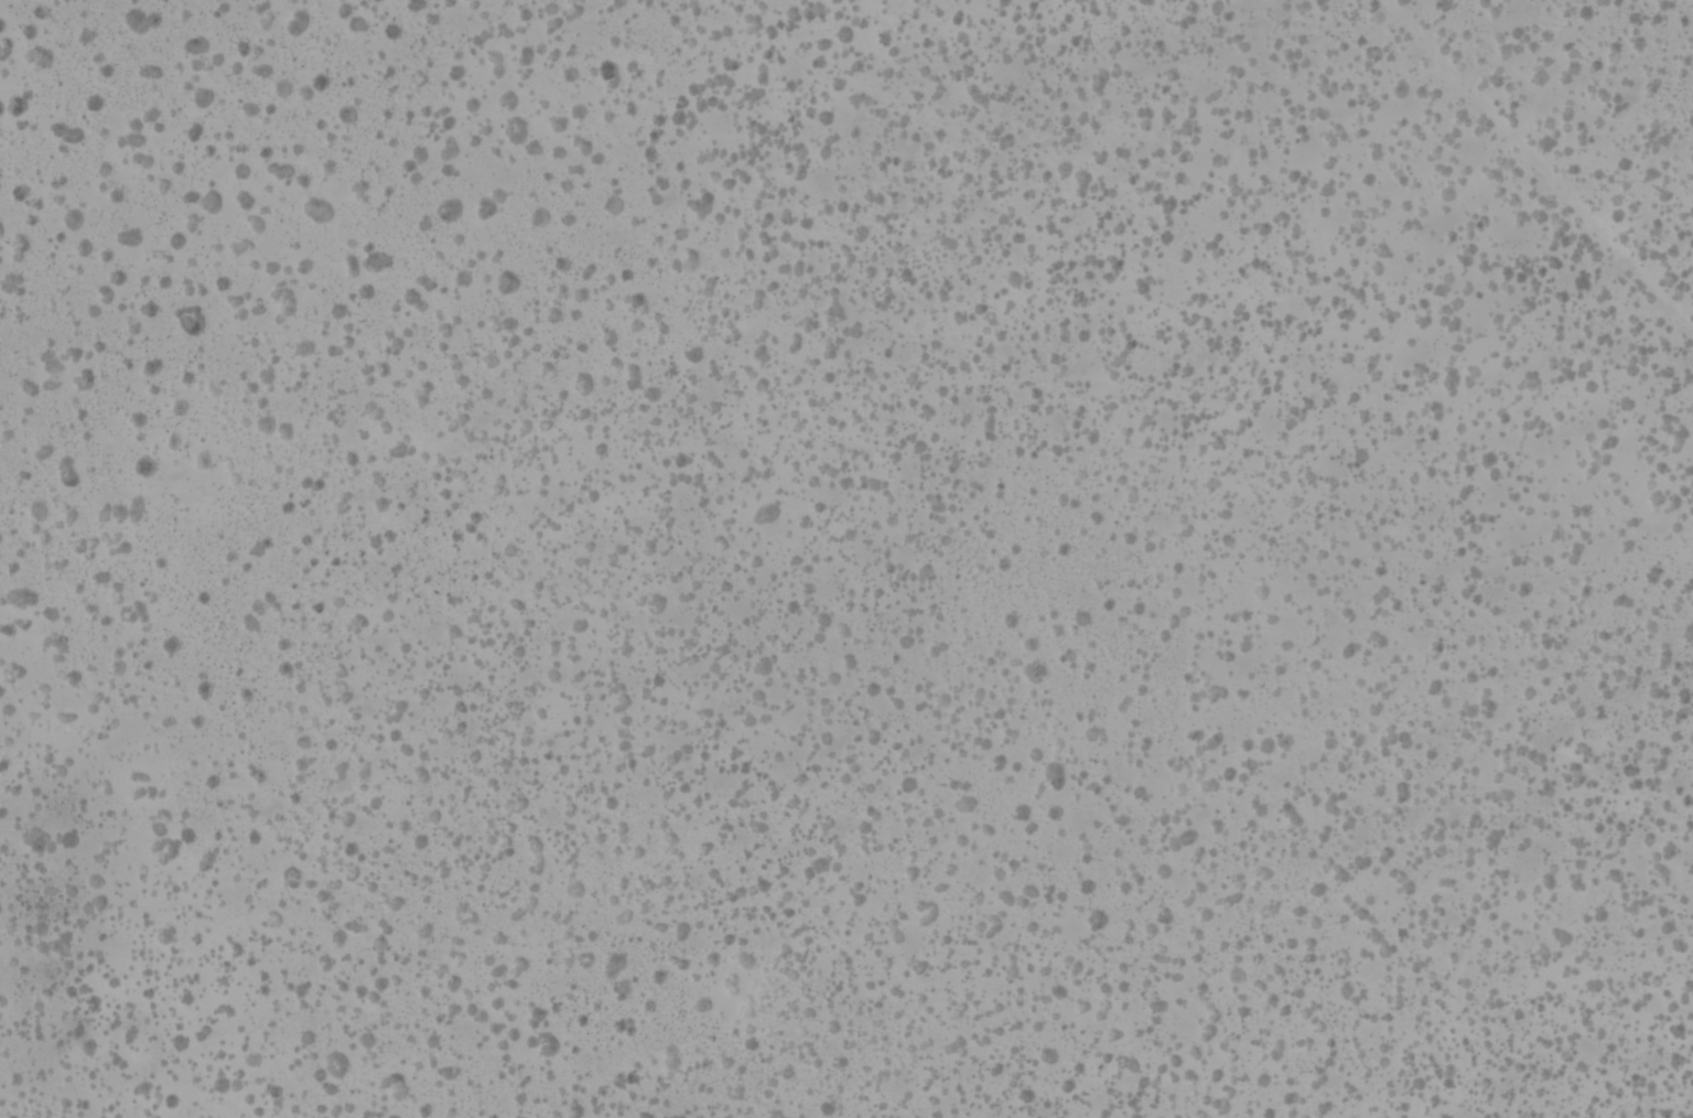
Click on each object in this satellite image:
road: (1539, 162)

